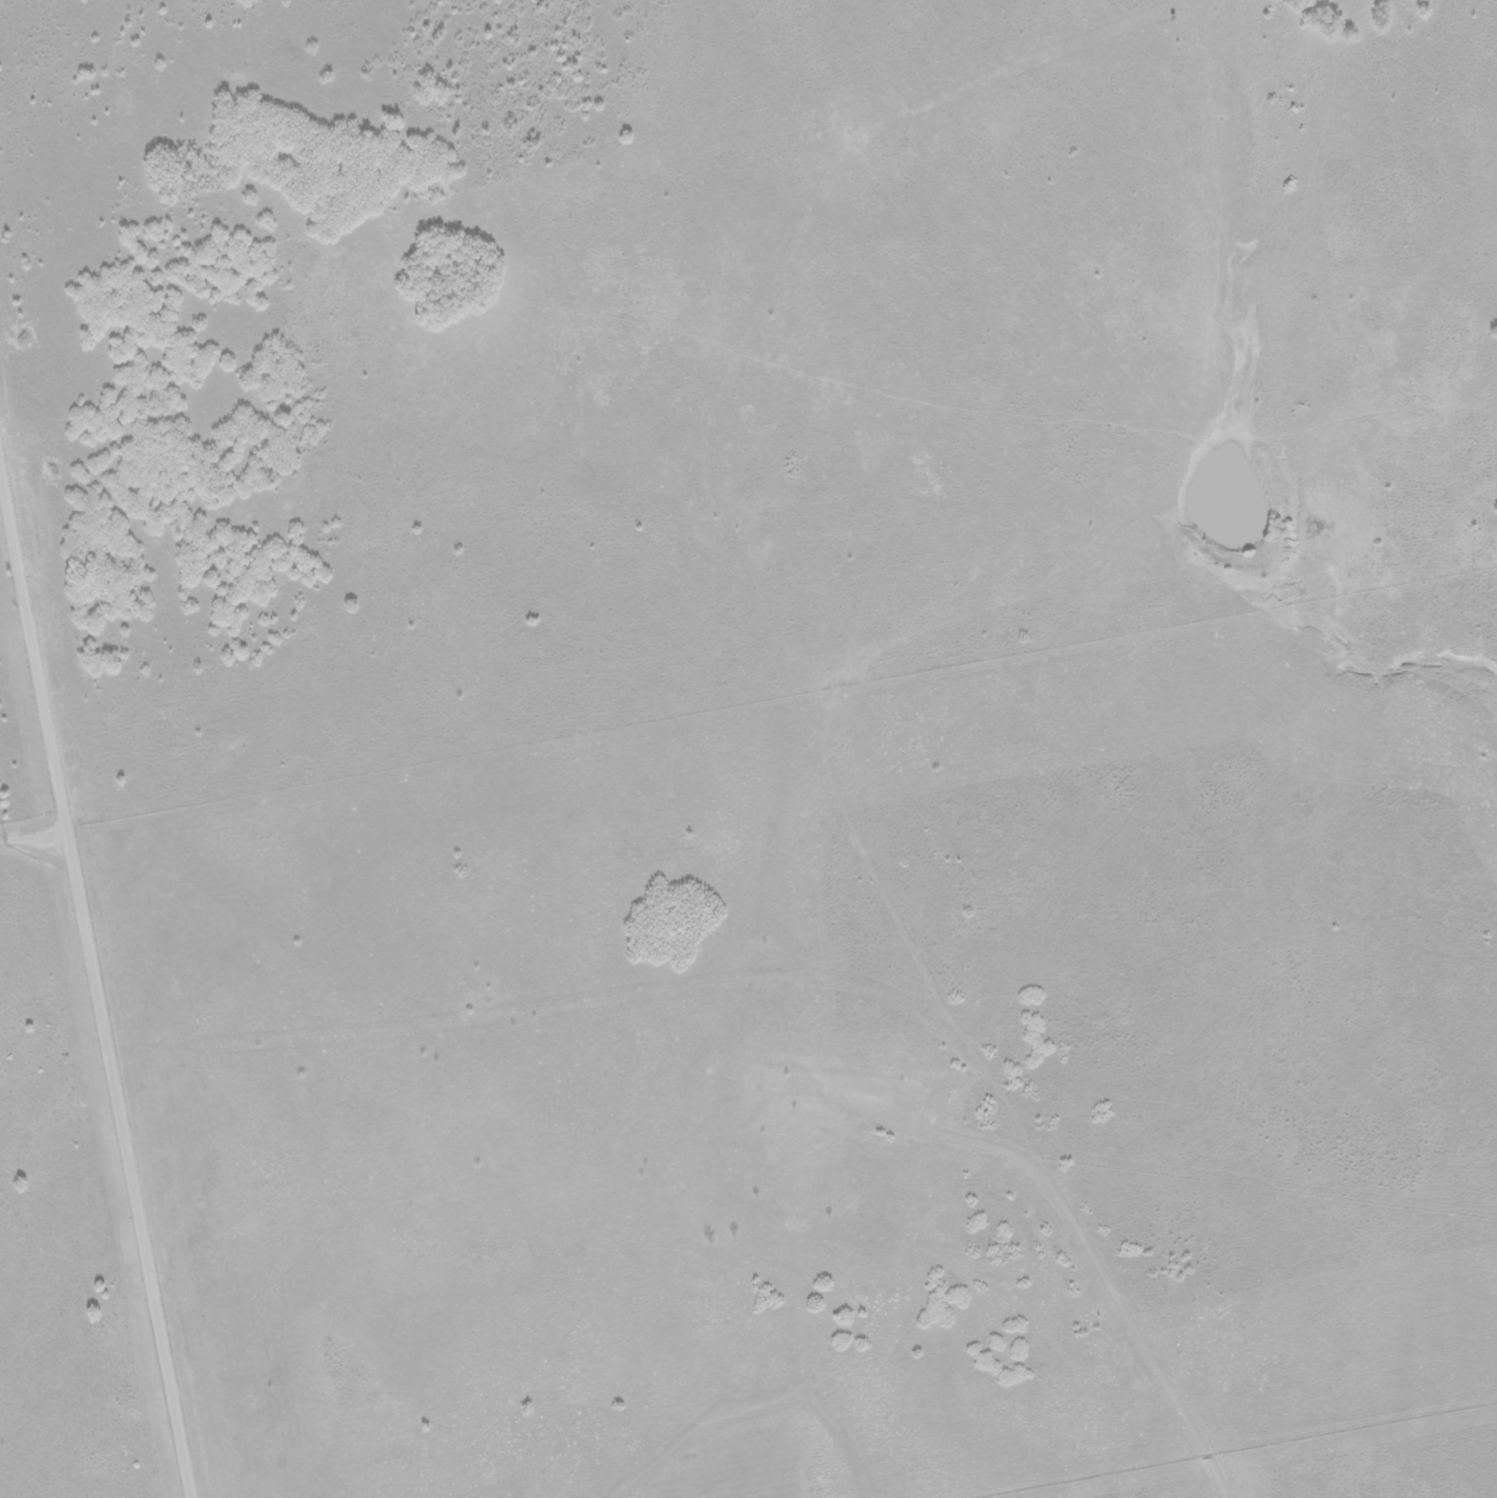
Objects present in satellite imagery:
road: (97, 974)

